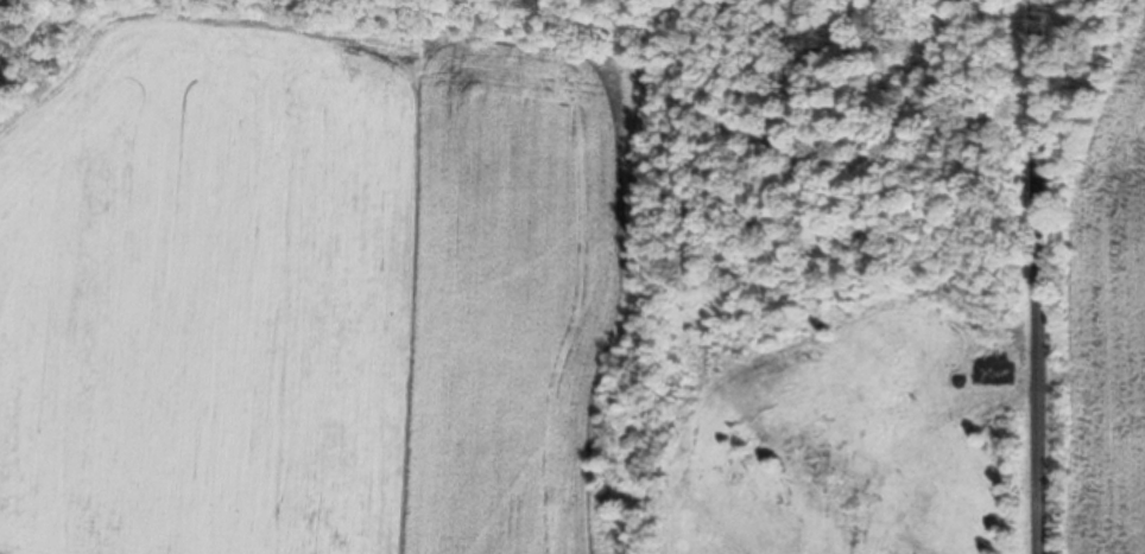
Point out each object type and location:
road: (1036, 276)

